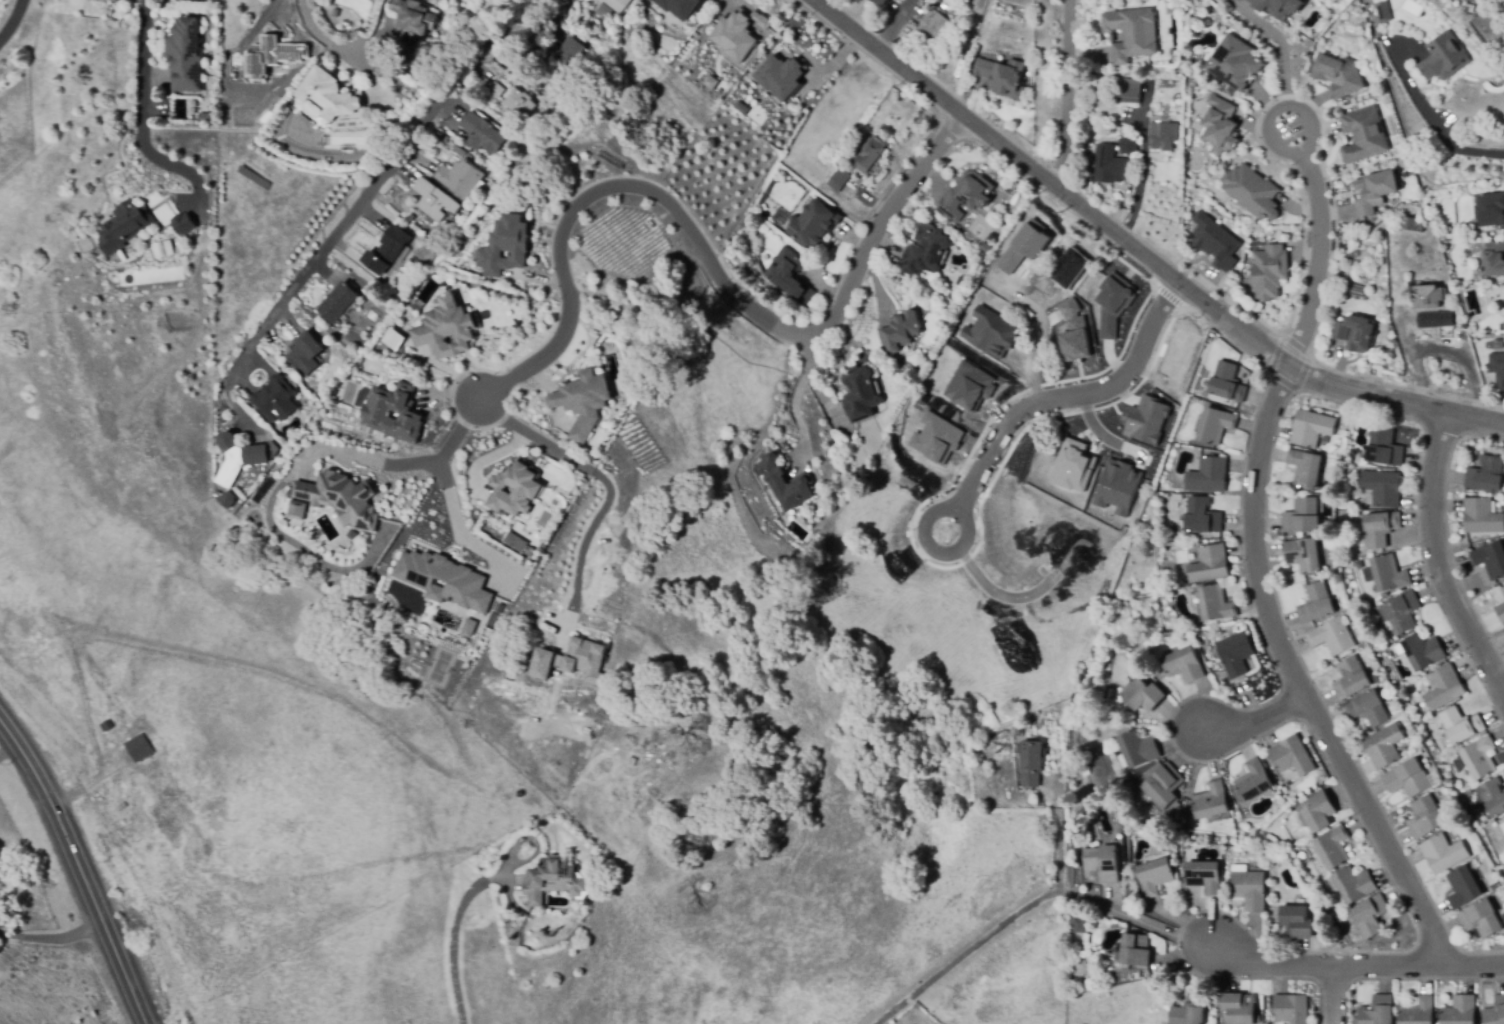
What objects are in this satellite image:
building: (112, 0)
building: (881, 2)
building: (620, 5)
building: (679, 6)
building: (1280, 8)
building: (1471, 9)
building: (1383, 10)
building: (603, 12)
building: (413, 20)
road: (14, 22)
building: (935, 26)
building: (738, 32)
building: (1132, 33)
road: (313, 36)
road: (1281, 43)
building: (184, 53)
building: (564, 53)
building: (262, 56)
building: (584, 57)
building: (1445, 58)
building: (1235, 65)
building: (1337, 74)
building: (781, 76)
building: (1003, 78)
building: (966, 80)
building: (710, 81)
building: (496, 90)
building: (1128, 91)
building: (330, 93)
road: (1064, 93)
building: (519, 104)
building: (207, 118)
building: (535, 122)
building: (123, 125)
road: (142, 125)
building: (1223, 128)
building: (482, 133)
building: (438, 134)
building: (1363, 135)
building: (1115, 136)
building: (1163, 136)
building: (444, 137)
building: (516, 139)
building: (451, 144)
road: (1451, 144)
building: (1128, 145)
building: (459, 151)
road: (1288, 152)
building: (870, 153)
building: (507, 159)
building: (1111, 169)
building: (459, 179)
building: (836, 182)
building: (1377, 191)
building: (1254, 194)
building: (966, 195)
road: (362, 197)
building: (434, 201)
building: (1490, 210)
building: (448, 218)
building: (181, 223)
building: (1410, 224)
building: (122, 225)
building: (813, 225)
building: (1032, 239)
building: (505, 243)
building: (1216, 244)
building: (985, 247)
building: (162, 248)
building: (388, 250)
building: (926, 250)
road: (1139, 251)
road: (701, 252)
road: (1317, 258)
building: (1493, 259)
building: (1010, 260)
building: (1069, 269)
building: (1037, 270)
building: (789, 273)
building: (1270, 274)
building: (1358, 290)
building: (1427, 297)
building: (338, 303)
building: (1112, 304)
building: (1435, 319)
building: (1359, 330)
building: (1447, 330)
building: (446, 332)
building: (900, 332)
building: (989, 332)
building: (1073, 332)
building: (392, 338)
building: (306, 354)
building: (1498, 369)
building: (1228, 383)
building: (970, 386)
road: (794, 393)
building: (860, 394)
road: (1068, 396)
building: (584, 398)
building: (276, 400)
building: (396, 411)
building: (1146, 420)
building: (1215, 425)
building: (1312, 428)
road: (532, 434)
building: (1345, 434)
building: (936, 438)
building: (1384, 448)
building: (1354, 455)
building: (242, 458)
road: (412, 464)
building: (1072, 466)
building: (1306, 469)
building: (1486, 475)
building: (1209, 476)
building: (785, 482)
building: (1117, 487)
building: (1382, 488)
building: (515, 489)
building: (218, 495)
building: (339, 499)
building: (229, 500)
building: (295, 512)
road: (960, 513)
road: (454, 514)
building: (1203, 516)
building: (1302, 517)
building: (1482, 517)
building: (1145, 518)
building: (1380, 528)
road: (584, 539)
building: (1304, 555)
road: (1440, 556)
building: (1491, 560)
building: (1210, 565)
building: (1389, 574)
building: (444, 579)
building: (1338, 579)
building: (1503, 591)
building: (1216, 604)
building: (1317, 604)
building: (1501, 612)
building: (1402, 613)
building: (1124, 618)
building: (1196, 624)
building: (467, 628)
building: (1333, 637)
building: (1117, 638)
building: (1108, 641)
building: (1424, 651)
building: (1235, 654)
building: (572, 664)
building: (1184, 666)
road: (1298, 676)
building: (1151, 678)
building: (1352, 679)
building: (1376, 679)
building: (1444, 688)
building: (1144, 696)
building: (1369, 709)
road: (1263, 720)
building: (1461, 725)
building: (1027, 727)
building: (1385, 746)
building: (138, 747)
building: (1138, 749)
building: (1292, 757)
building: (1480, 758)
building: (1032, 763)
building: (1408, 779)
building: (1141, 781)
building: (1254, 781)
building: (1164, 786)
building: (1237, 796)
building: (1468, 797)
building: (1493, 797)
building: (1302, 800)
building: (1211, 801)
building: (1319, 812)
building: (1426, 817)
building: (1503, 818)
road: (1062, 832)
building: (1502, 842)
building: (1333, 847)
building: (1444, 853)
building: (1102, 863)
building: (1239, 868)
road: (79, 870)
building: (1050, 873)
building: (1155, 877)
building: (1204, 877)
building: (553, 880)
building: (1354, 884)
building: (1464, 887)
building: (1250, 890)
road: (1020, 912)
building: (1080, 914)
building: (1370, 916)
building: (1481, 919)
building: (1297, 922)
road: (457, 927)
road: (51, 937)
building: (1136, 951)
road: (1340, 965)
road: (1337, 995)
building: (1239, 1008)
building: (1291, 1009)
building: (1460, 1010)
building: (1189, 1011)
building: (1378, 1011)
building: (1418, 1011)
building: (1494, 1012)
building: (1258, 1019)

